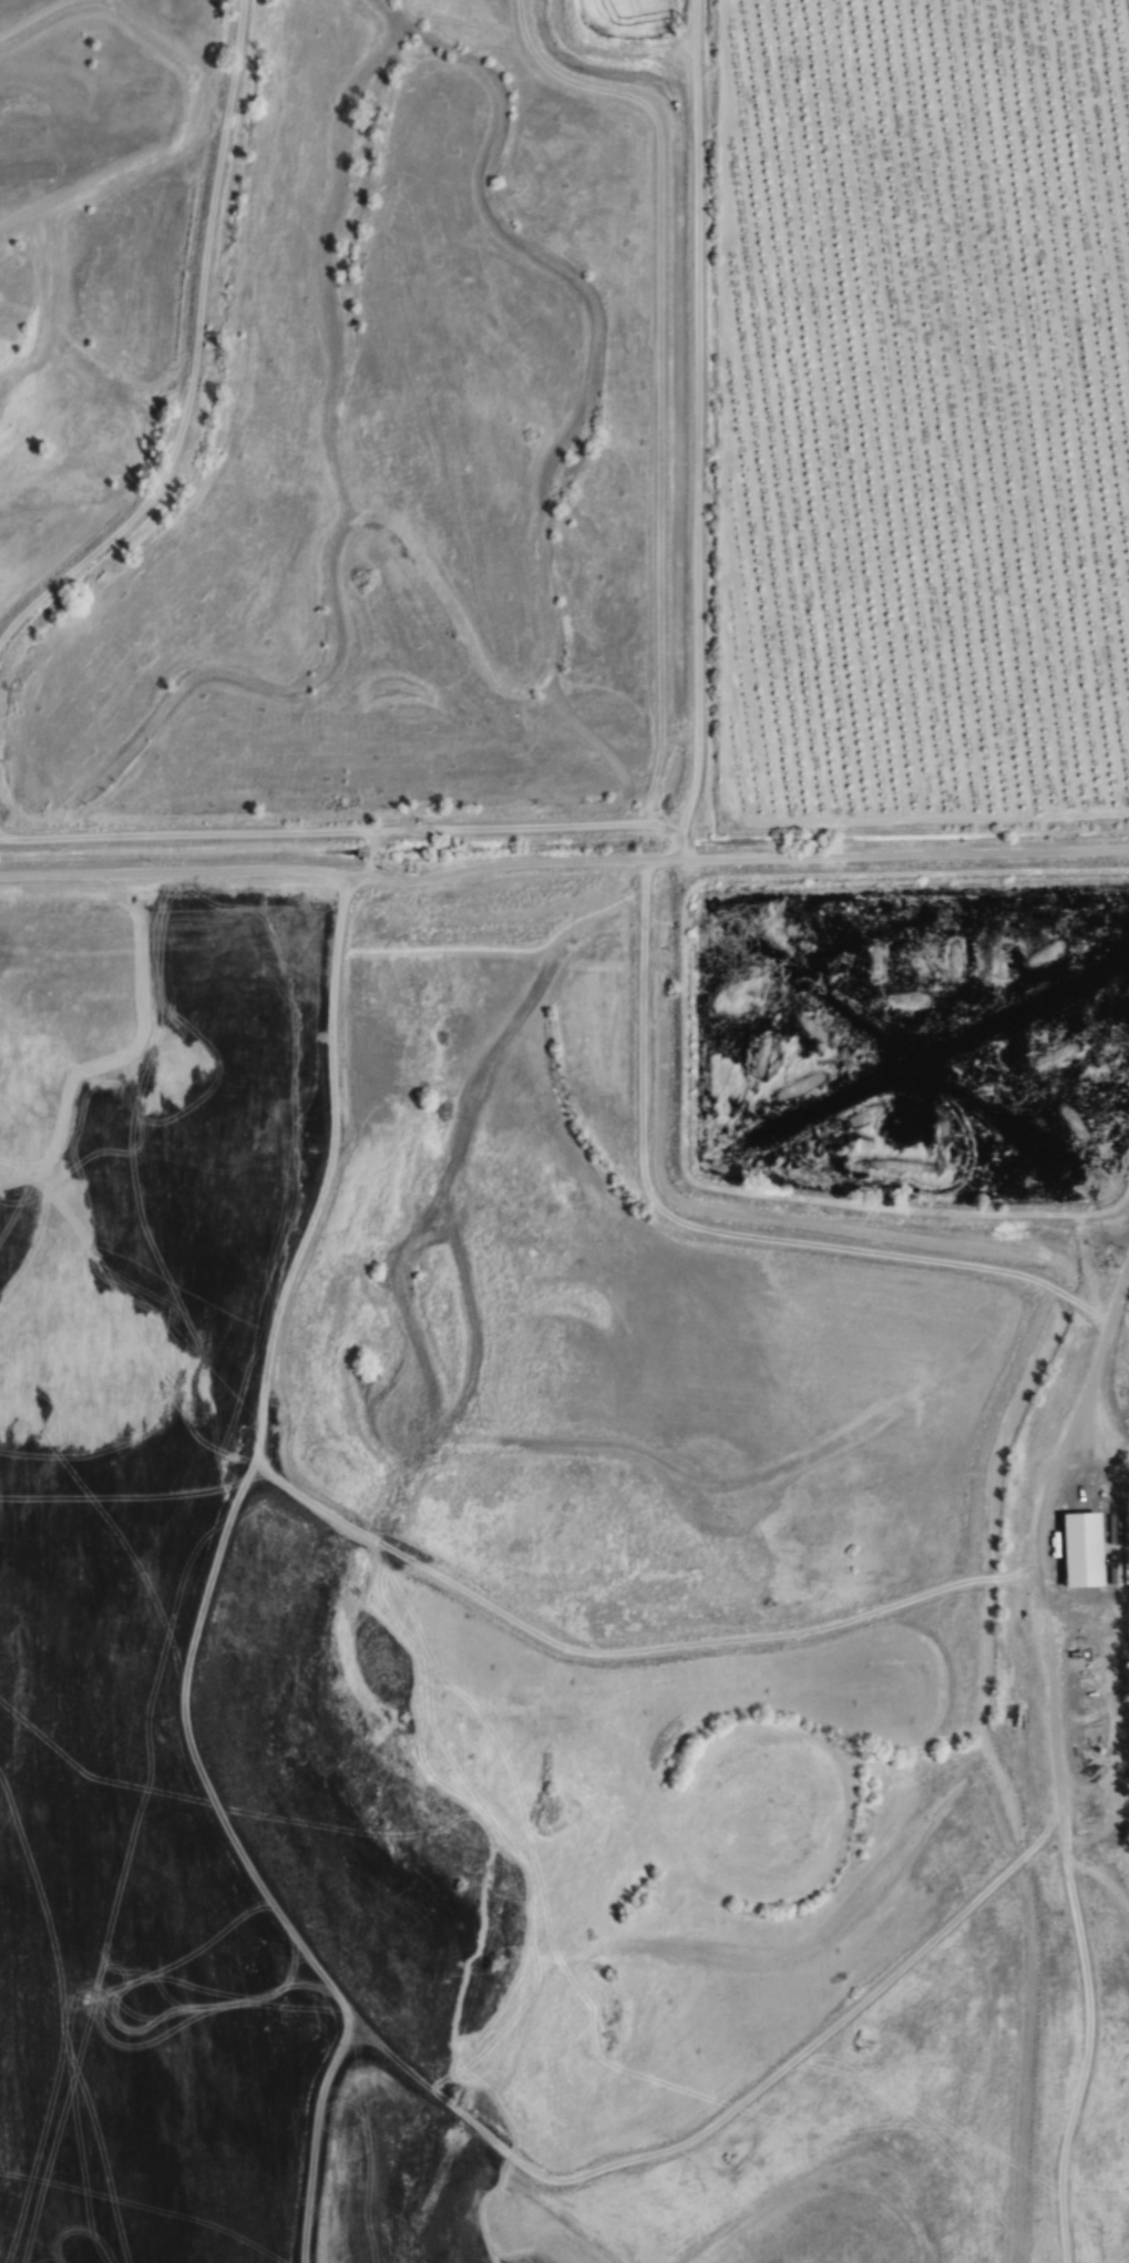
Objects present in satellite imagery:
road: (1036, 867)
road: (1092, 1365)
building: (1080, 1550)

